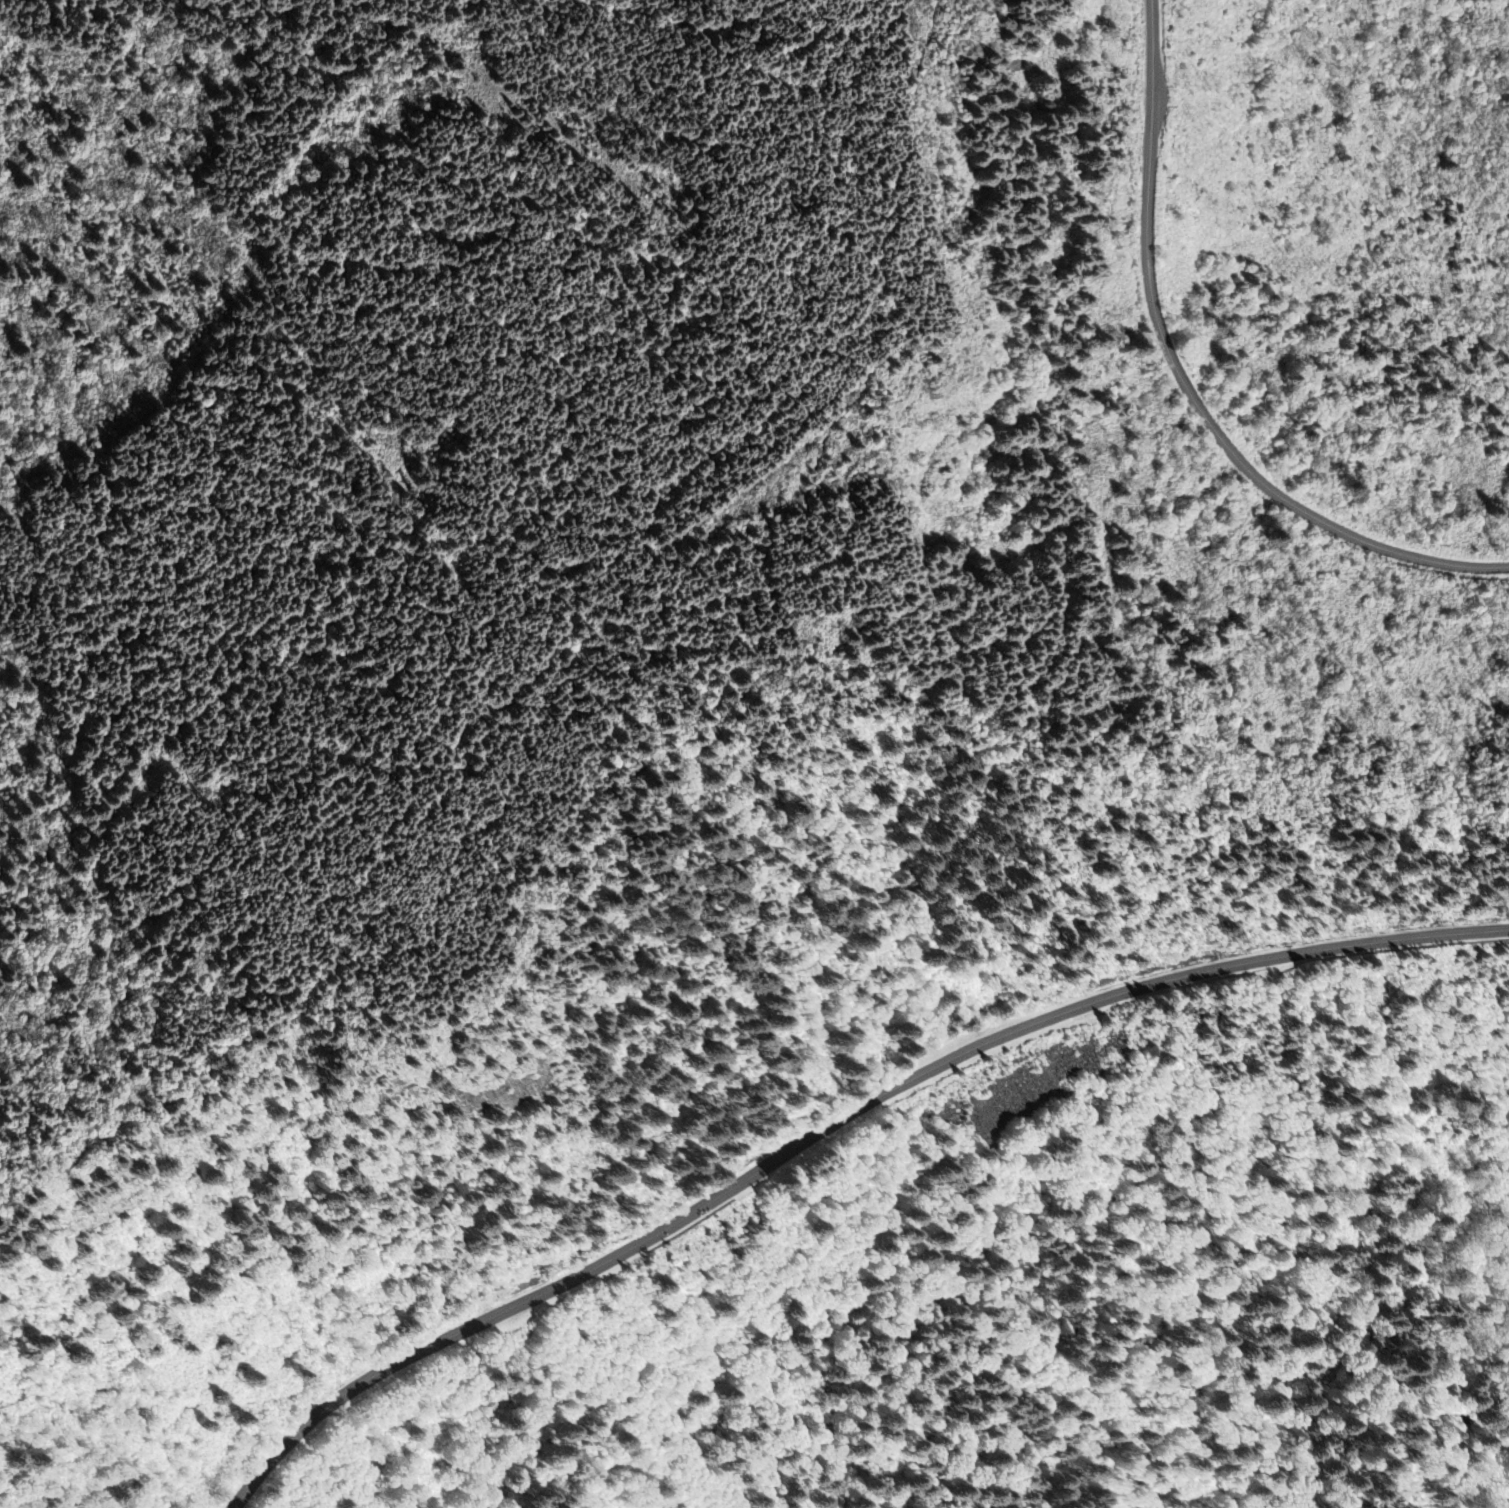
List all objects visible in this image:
road: (1185, 384)
road: (663, 732)
road: (829, 1126)

